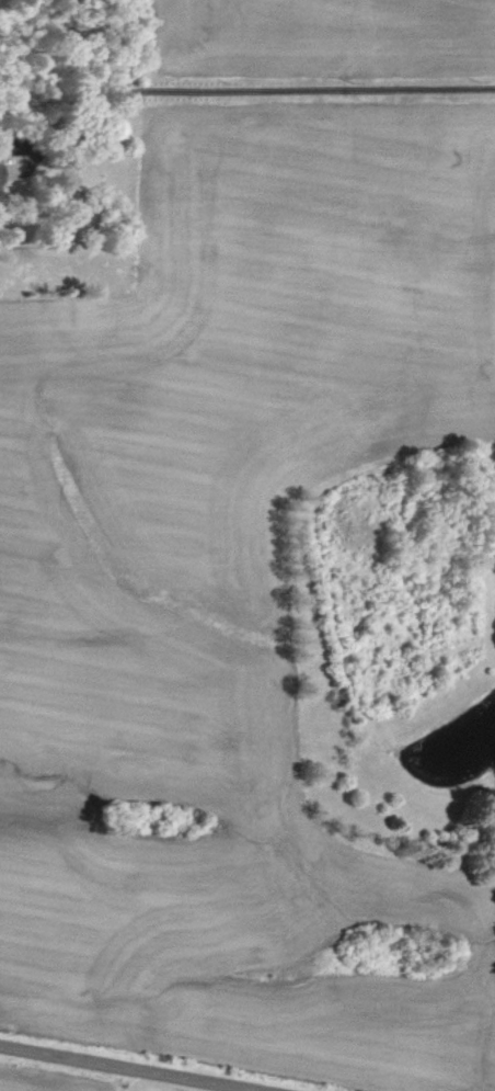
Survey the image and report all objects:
road: (262, 91)
road: (125, 1068)

